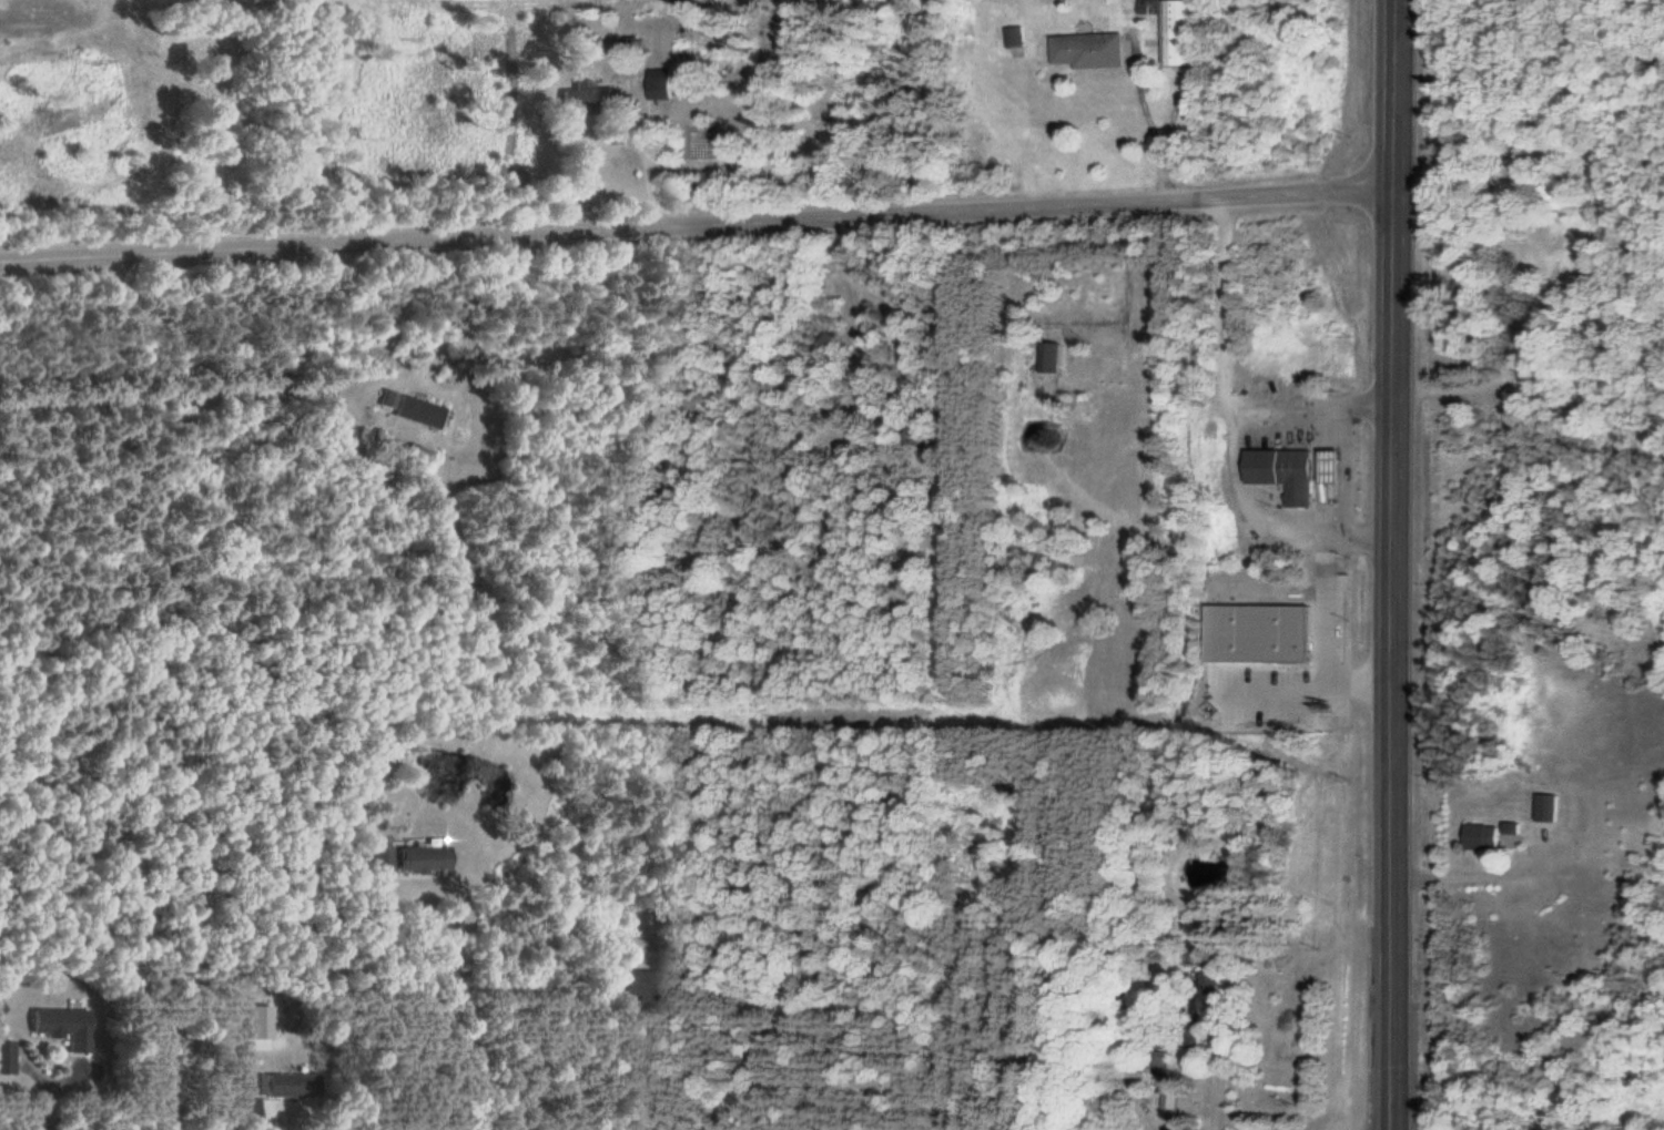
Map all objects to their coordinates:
building: (1169, 29)
building: (1013, 38)
building: (1085, 51)
building: (577, 100)
road: (700, 222)
building: (1077, 358)
building: (414, 411)
building: (1329, 465)
building: (1283, 470)
road: (1397, 564)
building: (1510, 831)
building: (1480, 837)
building: (423, 858)
building: (383, 861)
building: (642, 984)
building: (62, 1028)
building: (6, 1058)
building: (1158, 1062)
building: (278, 1086)
building: (1169, 1104)

